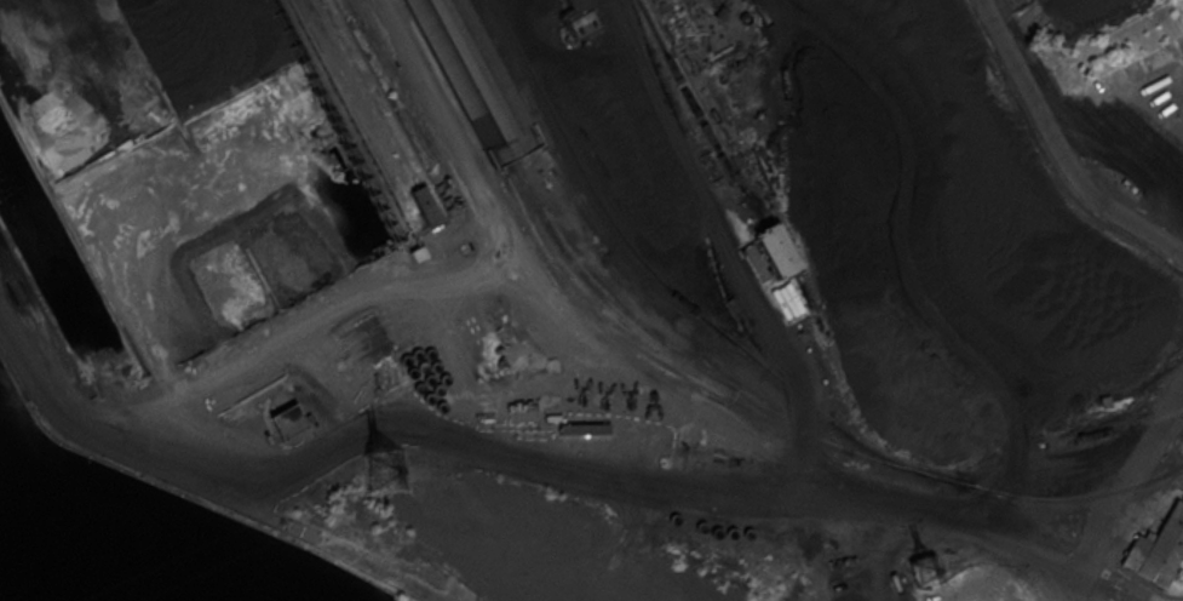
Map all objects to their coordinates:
building: (579, 5)
building: (475, 79)
railway: (472, 80)
railway: (460, 82)
railway: (700, 116)
road: (1058, 147)
road: (478, 195)
building: (423, 205)
railway: (708, 225)
road: (717, 229)
building: (780, 251)
road: (929, 259)
railway: (666, 286)
railway: (654, 339)
road: (695, 412)
building: (288, 422)
railway: (792, 429)
railway: (1115, 429)
road: (136, 453)
power tower: (380, 465)
road: (1121, 493)
building: (1159, 549)
power tower: (928, 569)
river: (5, 593)

